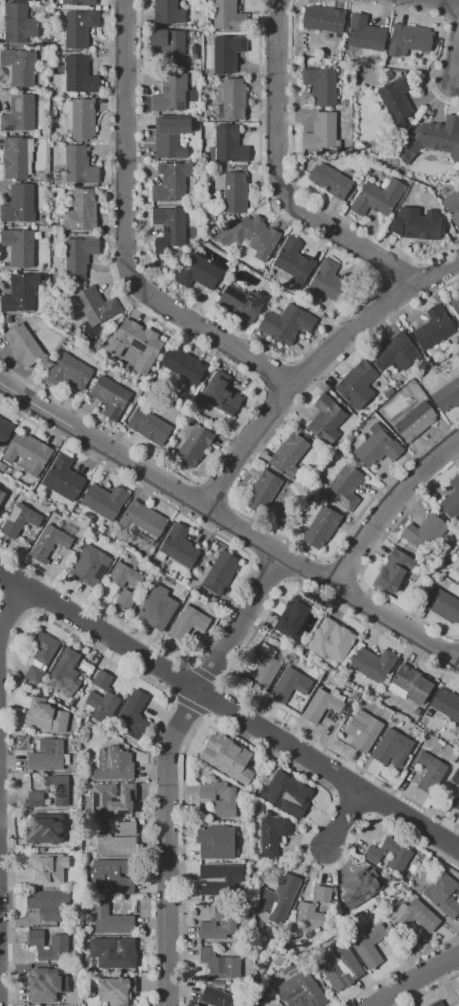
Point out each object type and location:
building: (78, 2)
road: (442, 2)
building: (168, 11)
building: (227, 15)
building: (323, 18)
building: (18, 23)
building: (79, 27)
building: (365, 33)
building: (408, 39)
building: (45, 41)
building: (170, 46)
building: (227, 53)
road: (455, 54)
building: (388, 65)
building: (19, 66)
building: (387, 73)
building: (79, 75)
building: (57, 82)
building: (320, 85)
building: (170, 93)
building: (39, 97)
building: (234, 99)
building: (396, 99)
building: (18, 113)
building: (80, 117)
building: (322, 133)
building: (170, 136)
building: (432, 139)
building: (229, 144)
building: (18, 157)
building: (79, 165)
road: (282, 175)
building: (330, 180)
building: (171, 181)
building: (234, 192)
building: (378, 197)
building: (19, 204)
building: (452, 205)
building: (81, 211)
building: (416, 224)
building: (169, 228)
building: (250, 235)
road: (129, 239)
building: (19, 246)
building: (79, 256)
building: (294, 261)
building: (198, 272)
building: (329, 281)
building: (20, 292)
building: (243, 302)
building: (456, 303)
building: (95, 305)
building: (7, 319)
building: (291, 323)
building: (434, 327)
building: (135, 343)
building: (23, 344)
building: (395, 352)
building: (185, 365)
road: (317, 370)
building: (69, 371)
building: (357, 384)
building: (389, 392)
building: (221, 393)
building: (446, 395)
building: (110, 396)
building: (326, 419)
building: (415, 421)
building: (149, 426)
building: (5, 430)
building: (194, 446)
building: (377, 447)
building: (29, 452)
building: (289, 455)
building: (2, 466)
building: (64, 477)
building: (345, 486)
building: (262, 491)
building: (2, 495)
building: (104, 500)
building: (453, 502)
building: (58, 512)
road: (390, 515)
building: (20, 520)
building: (280, 520)
building: (141, 522)
building: (319, 523)
road: (230, 526)
building: (424, 532)
building: (49, 542)
building: (178, 546)
building: (89, 566)
building: (458, 569)
building: (394, 570)
building: (220, 572)
building: (124, 575)
building: (399, 595)
building: (126, 598)
building: (442, 604)
building: (157, 607)
building: (292, 616)
building: (188, 622)
building: (331, 640)
building: (43, 647)
building: (303, 652)
road: (454, 657)
building: (373, 664)
building: (67, 669)
building: (89, 669)
building: (264, 671)
building: (34, 674)
building: (289, 684)
building: (411, 684)
building: (102, 697)
building: (446, 704)
building: (321, 705)
road: (1, 711)
building: (134, 713)
building: (46, 715)
road: (229, 718)
building: (363, 730)
building: (393, 742)
building: (48, 755)
building: (227, 758)
building: (113, 765)
building: (76, 766)
road: (173, 767)
building: (430, 772)
building: (457, 779)
building: (59, 789)
building: (285, 792)
building: (219, 797)
building: (36, 799)
building: (103, 801)
building: (457, 804)
building: (50, 824)
road: (340, 824)
building: (272, 834)
building: (116, 838)
building: (216, 841)
building: (400, 855)
building: (46, 868)
building: (111, 875)
building: (218, 876)
building: (361, 887)
building: (323, 894)
building: (443, 894)
building: (279, 898)
building: (48, 902)
building: (416, 915)
building: (310, 917)
building: (111, 920)
building: (220, 922)
building: (59, 939)
building: (369, 945)
building: (111, 951)
building: (219, 964)
building: (340, 965)
road: (422, 977)
building: (58, 984)
building: (116, 990)
building: (301, 990)
building: (219, 998)
building: (441, 1004)
building: (256, 1005)

